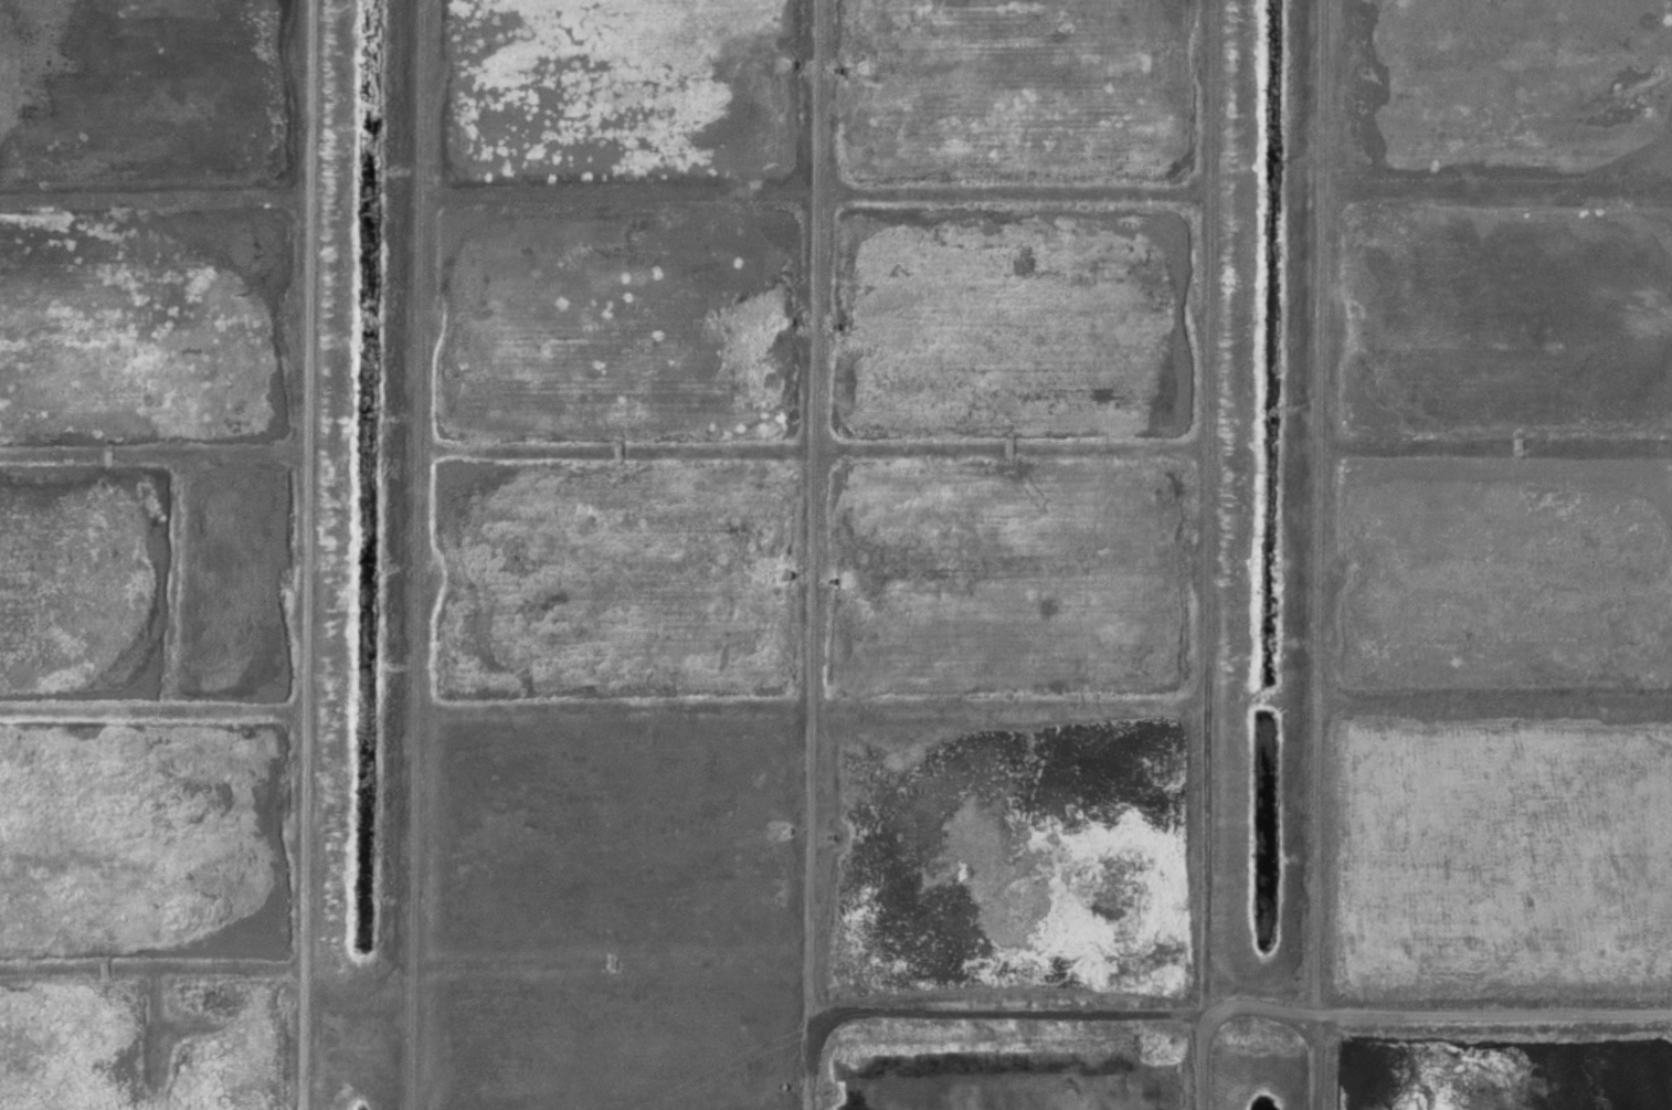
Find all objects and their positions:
wastewater plant: (836, 554)

